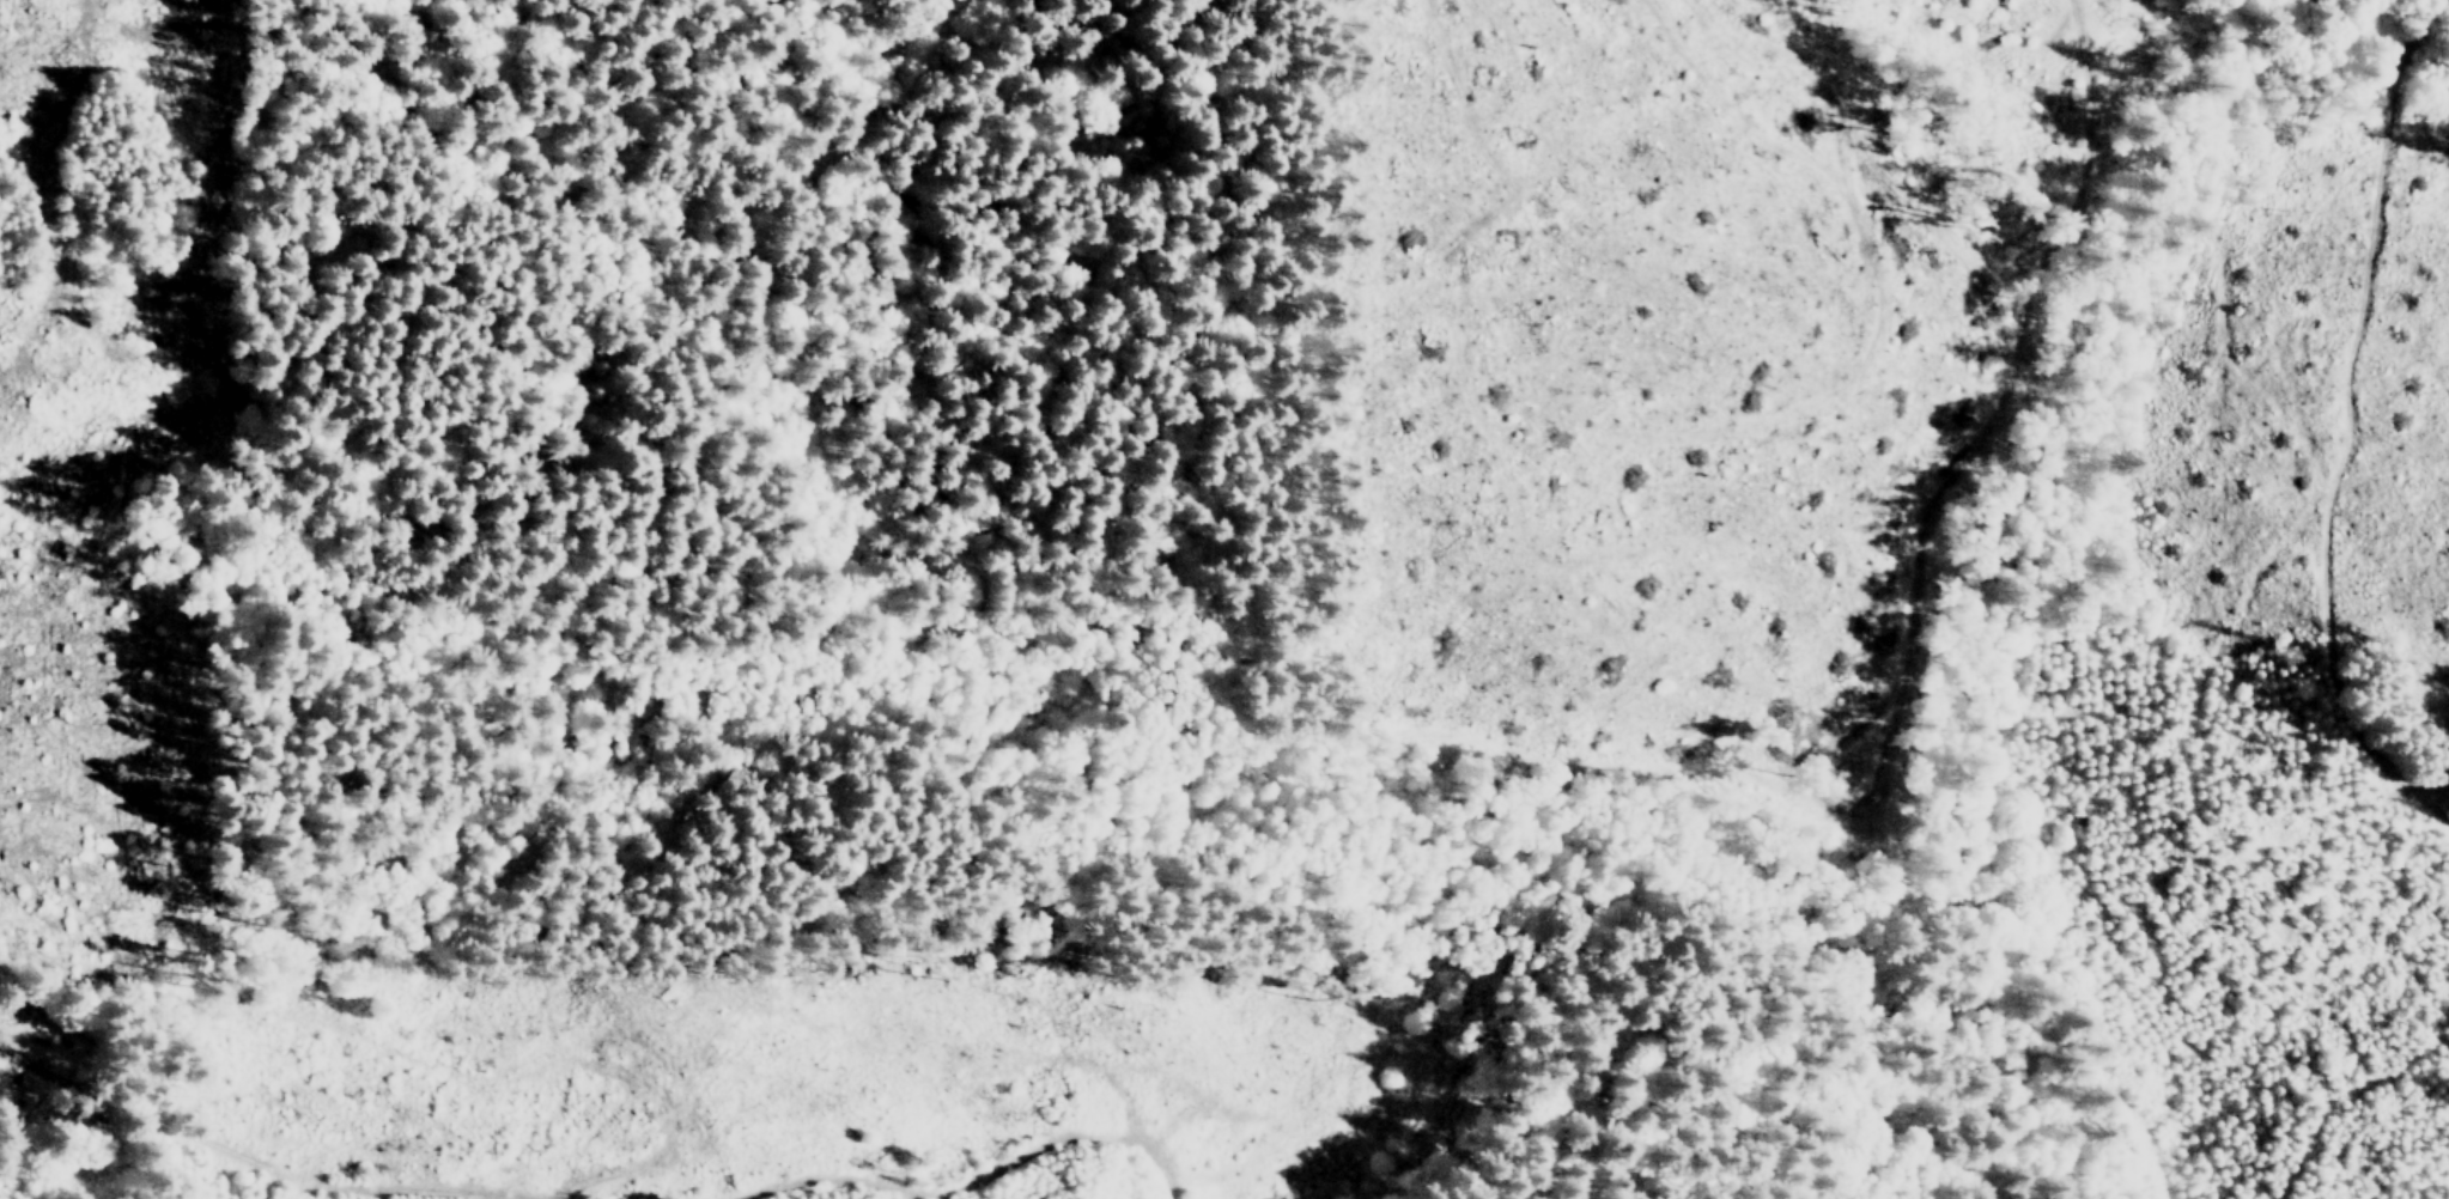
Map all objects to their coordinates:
road: (2133, 1113)

